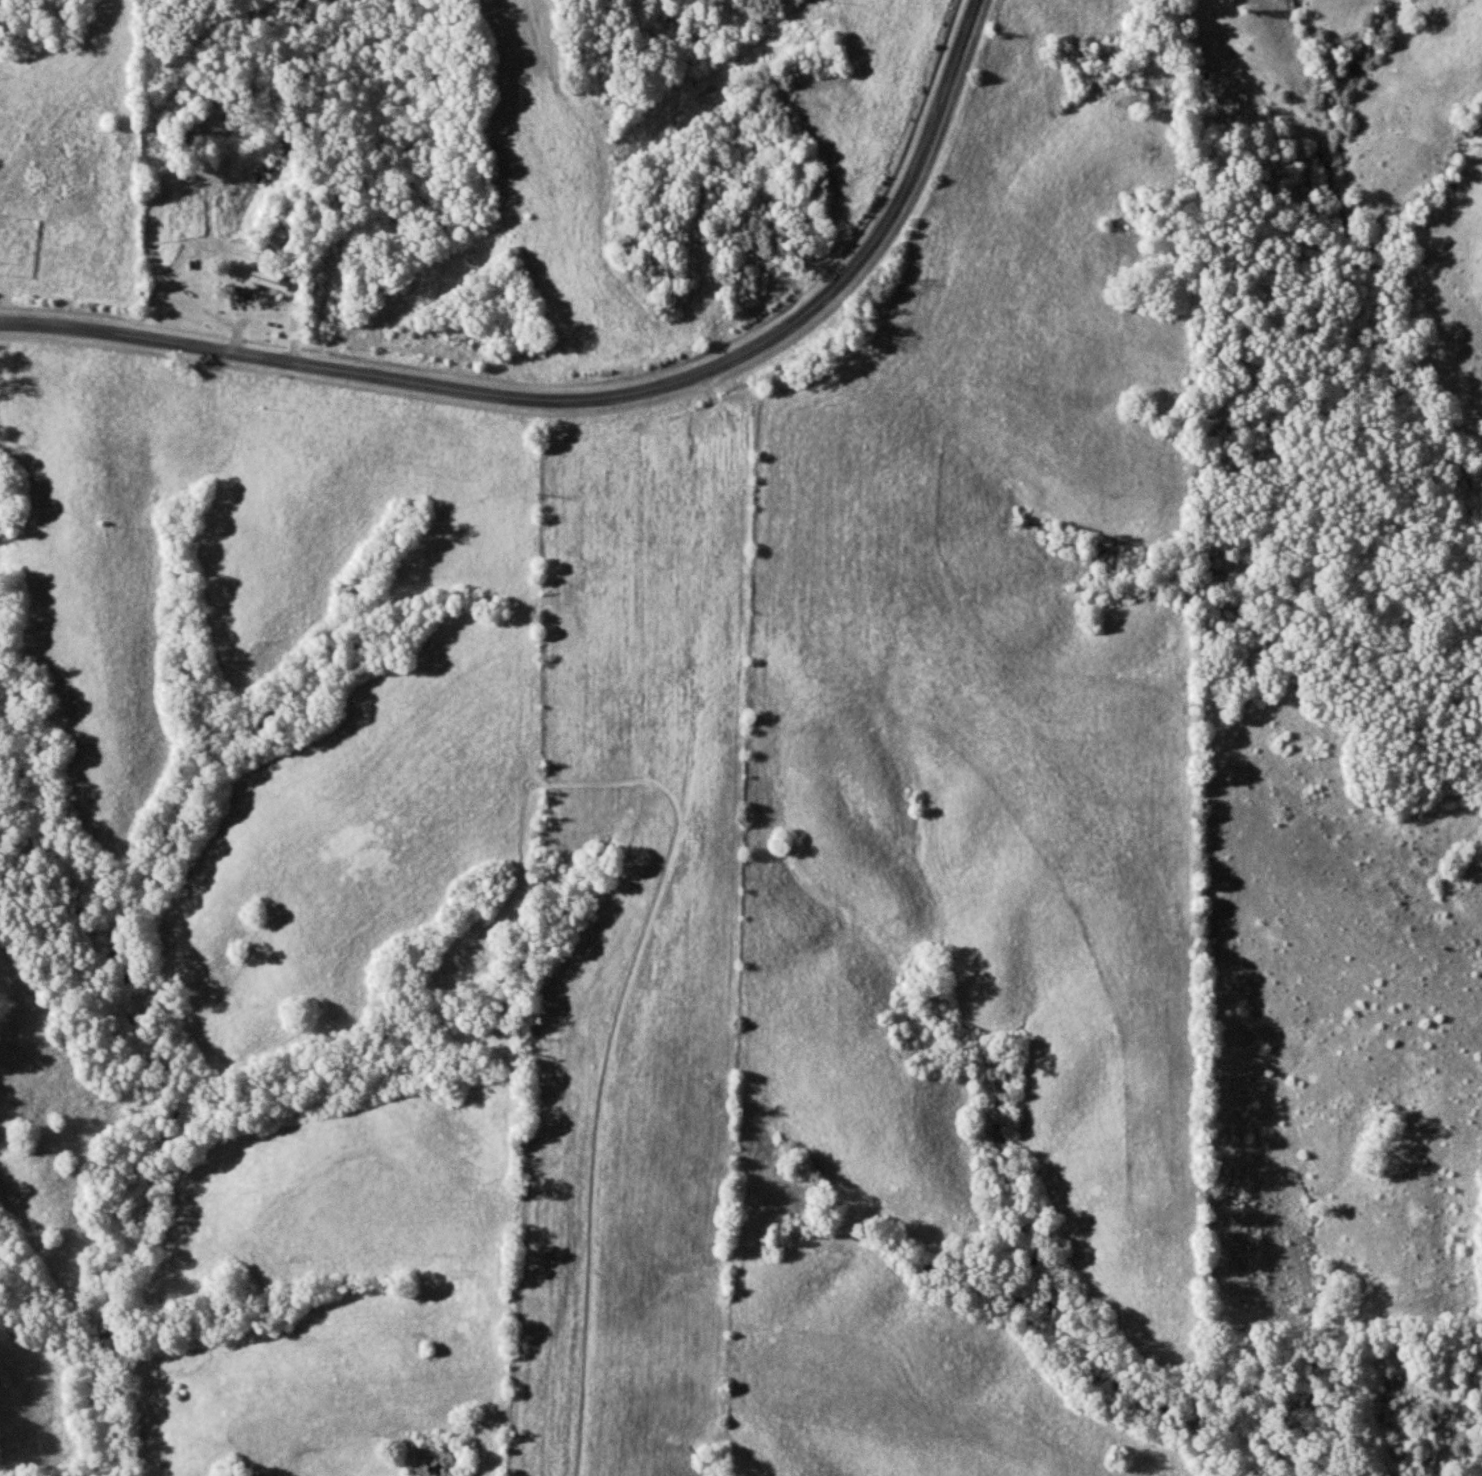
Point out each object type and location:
building: (270, 281)
road: (589, 392)

